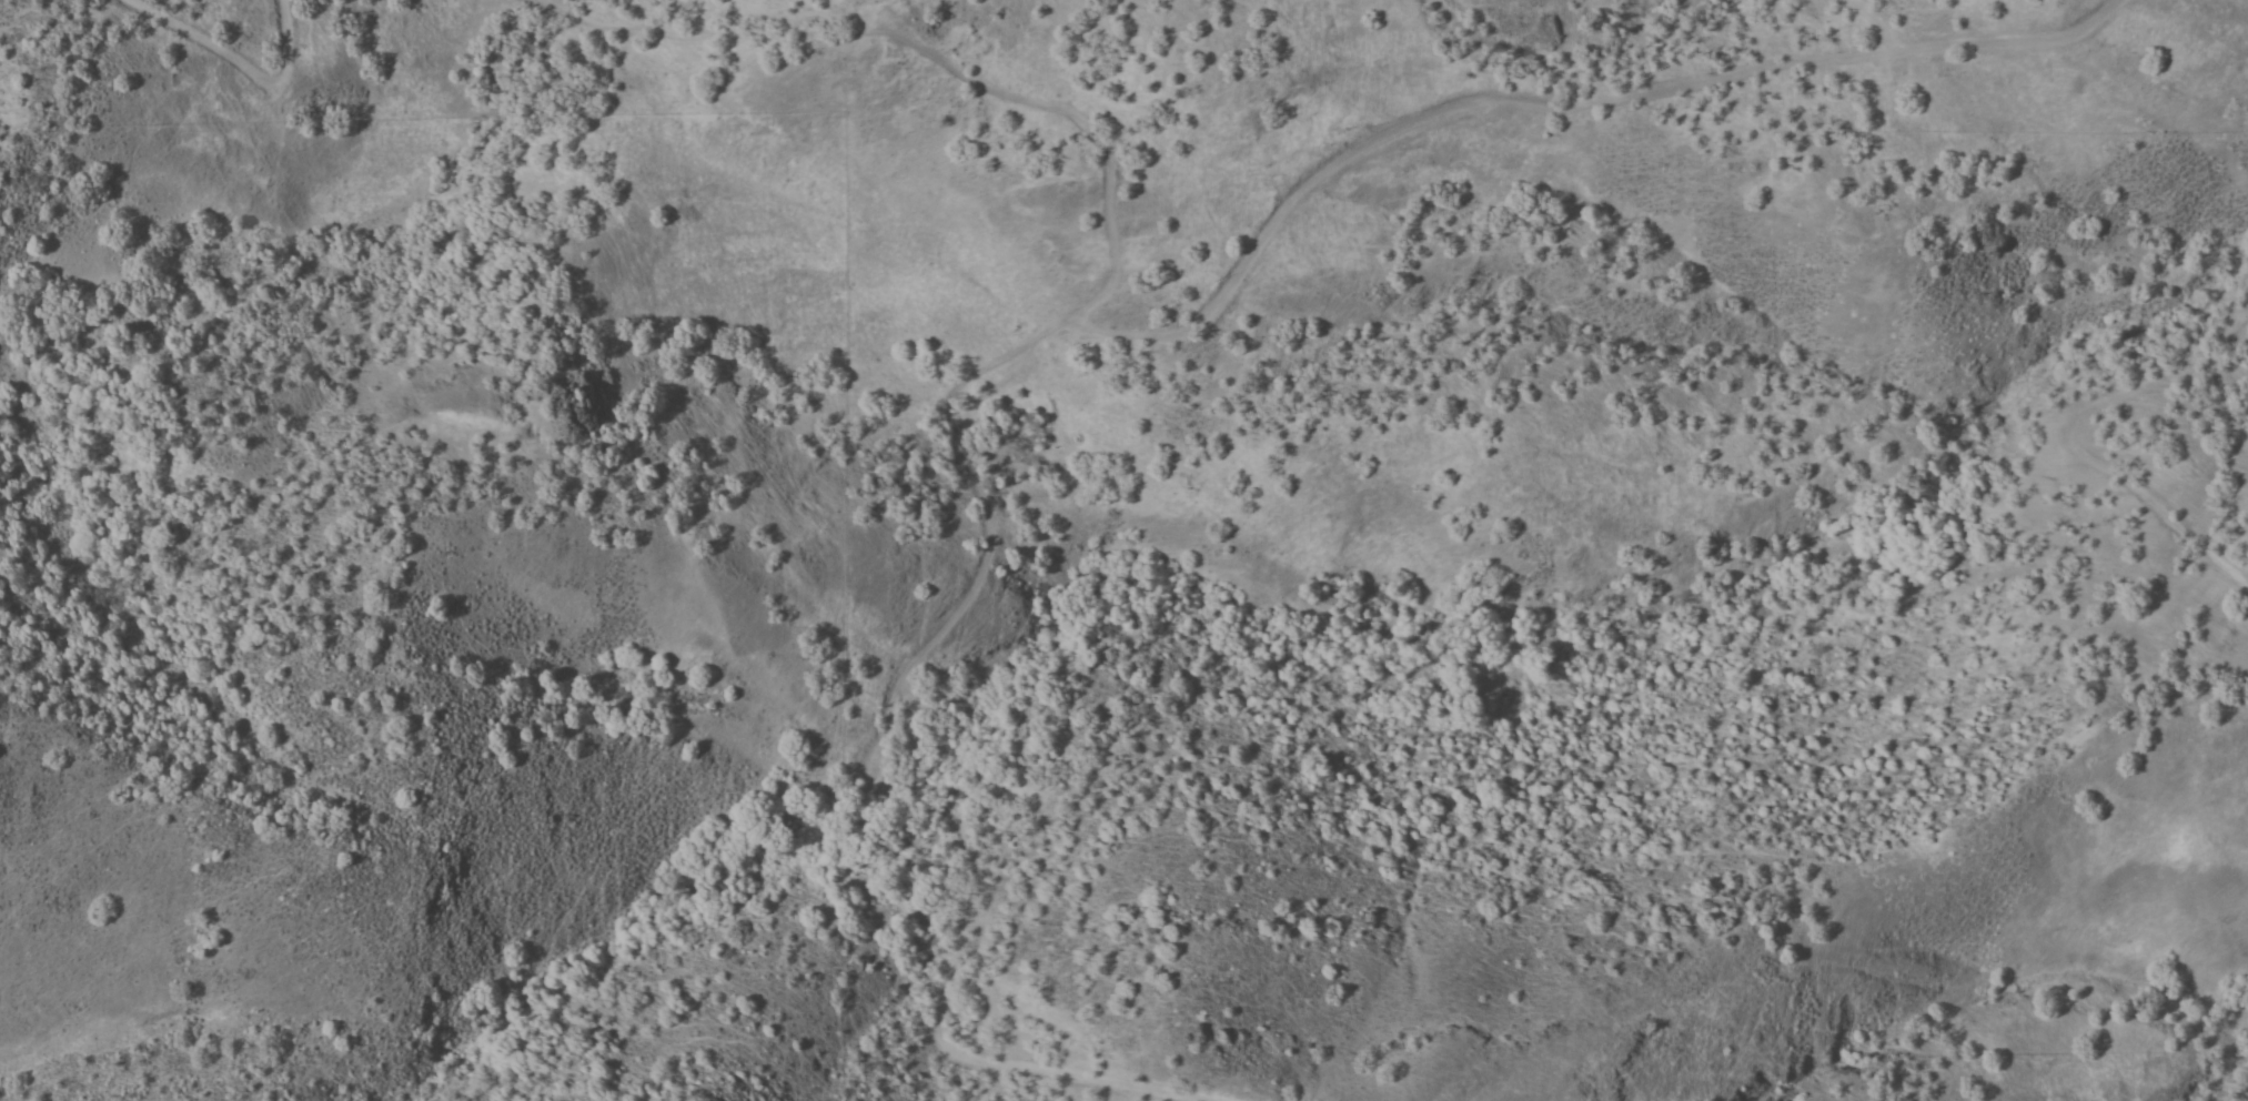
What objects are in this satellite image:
road: (1868, 21)
road: (919, 49)
road: (235, 64)
road: (1550, 104)
road: (2065, 448)
road: (920, 769)

